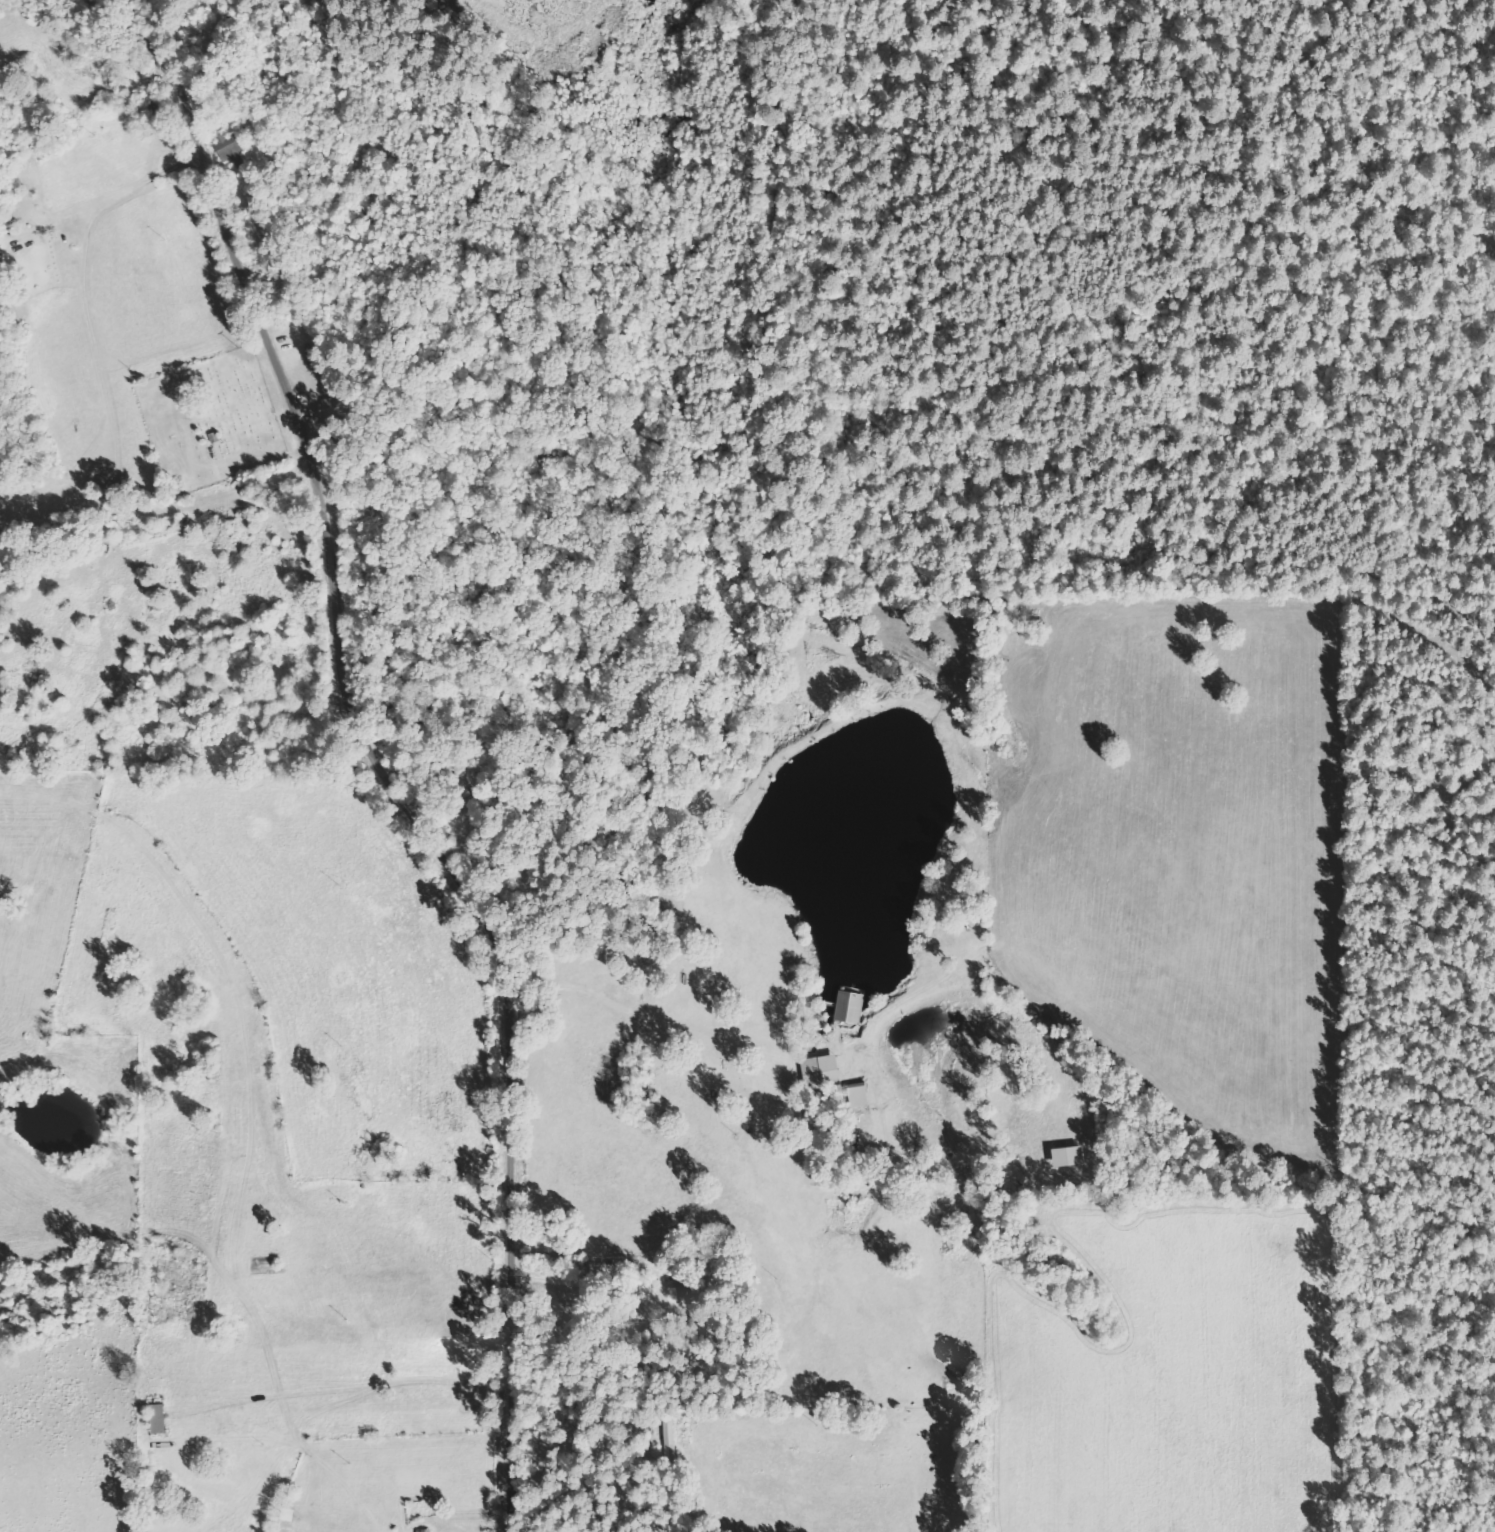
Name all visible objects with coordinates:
building: (232, 150)
road: (109, 195)
building: (2, 257)
park: (209, 420)
road: (330, 580)
building: (852, 1007)
building: (822, 1072)
building: (859, 1095)
building: (1068, 1157)
road: (509, 1358)
building: (159, 1419)
building: (425, 1530)

